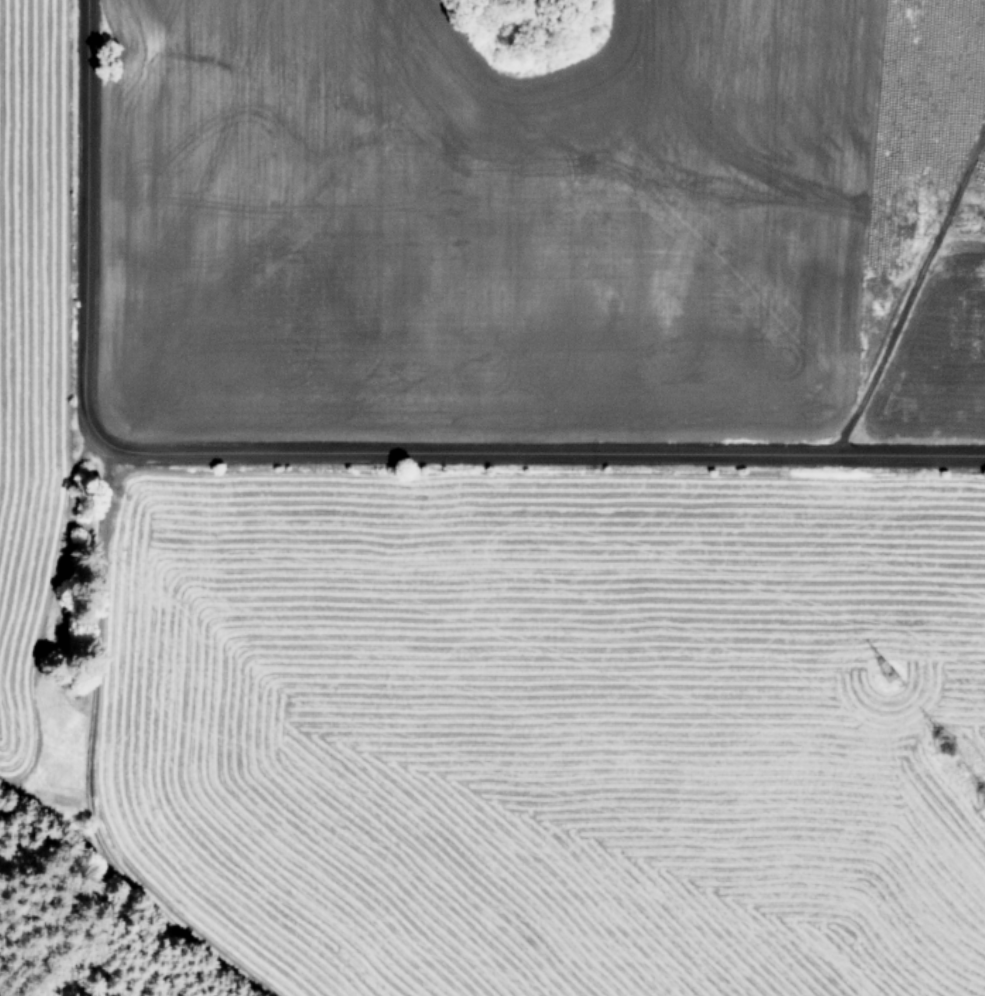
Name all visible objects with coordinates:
road: (312, 462)
crop: (499, 489)
power tower: (889, 676)
power tower: (949, 750)

